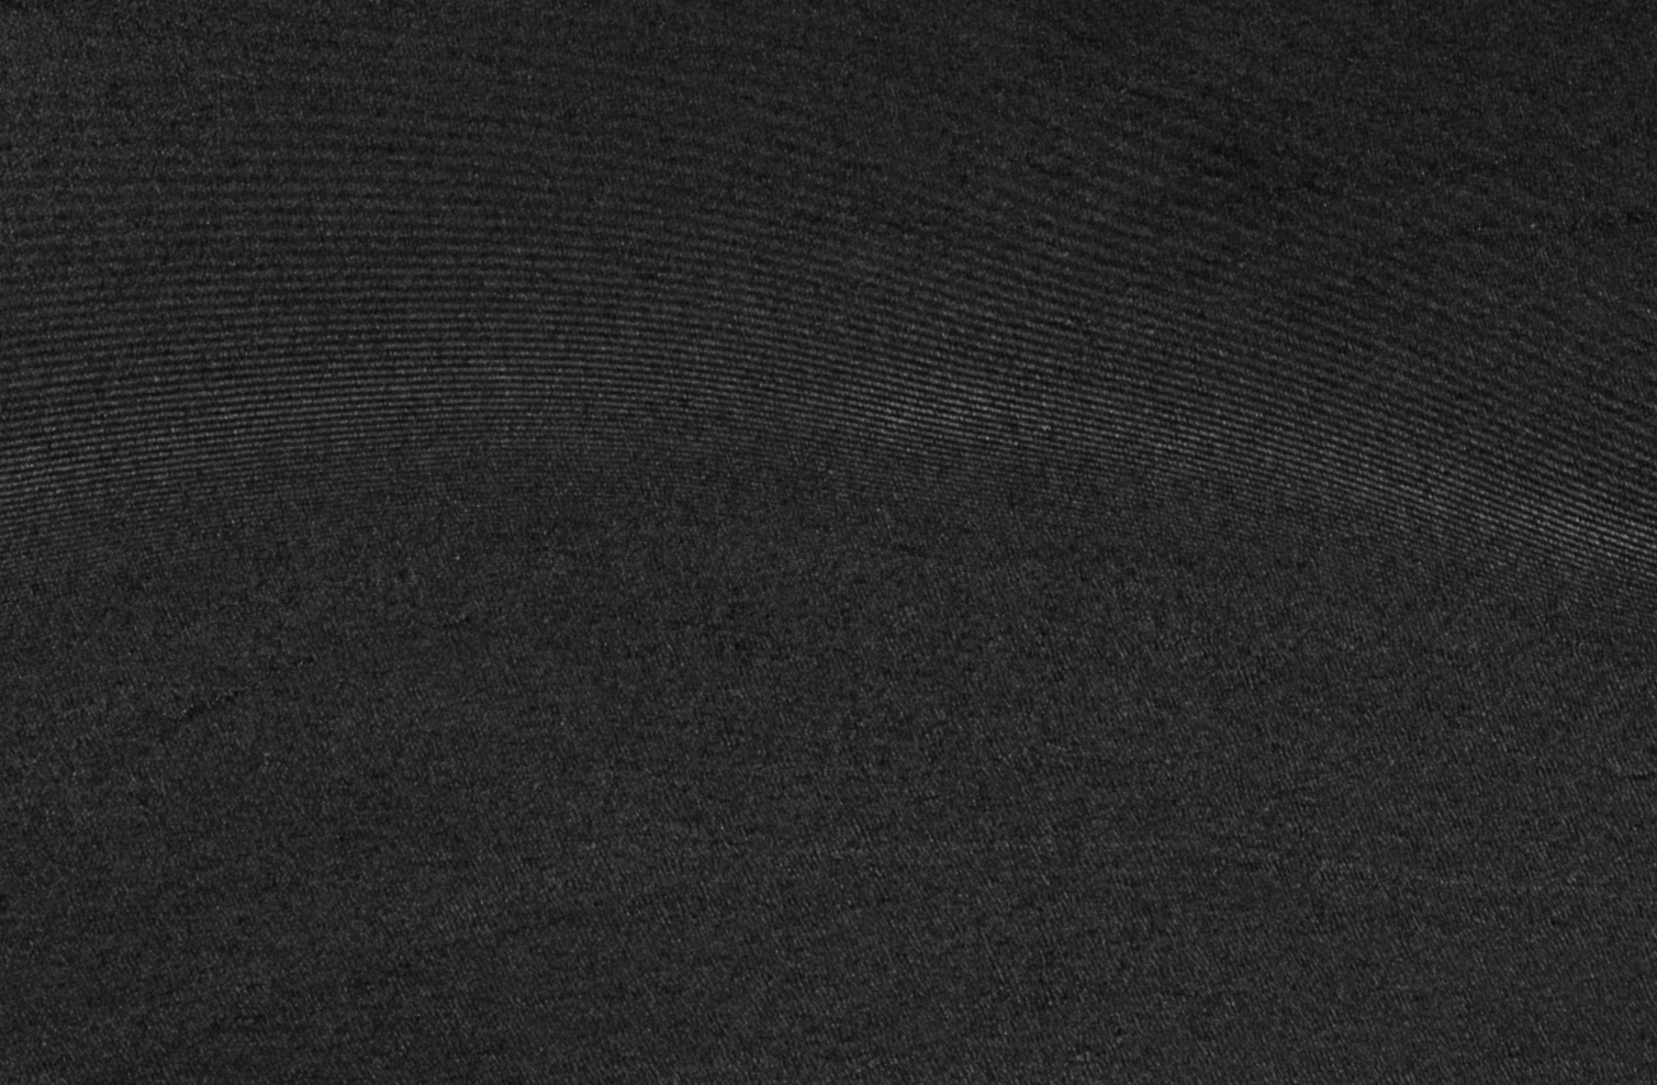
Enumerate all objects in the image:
river: (799, 561)

